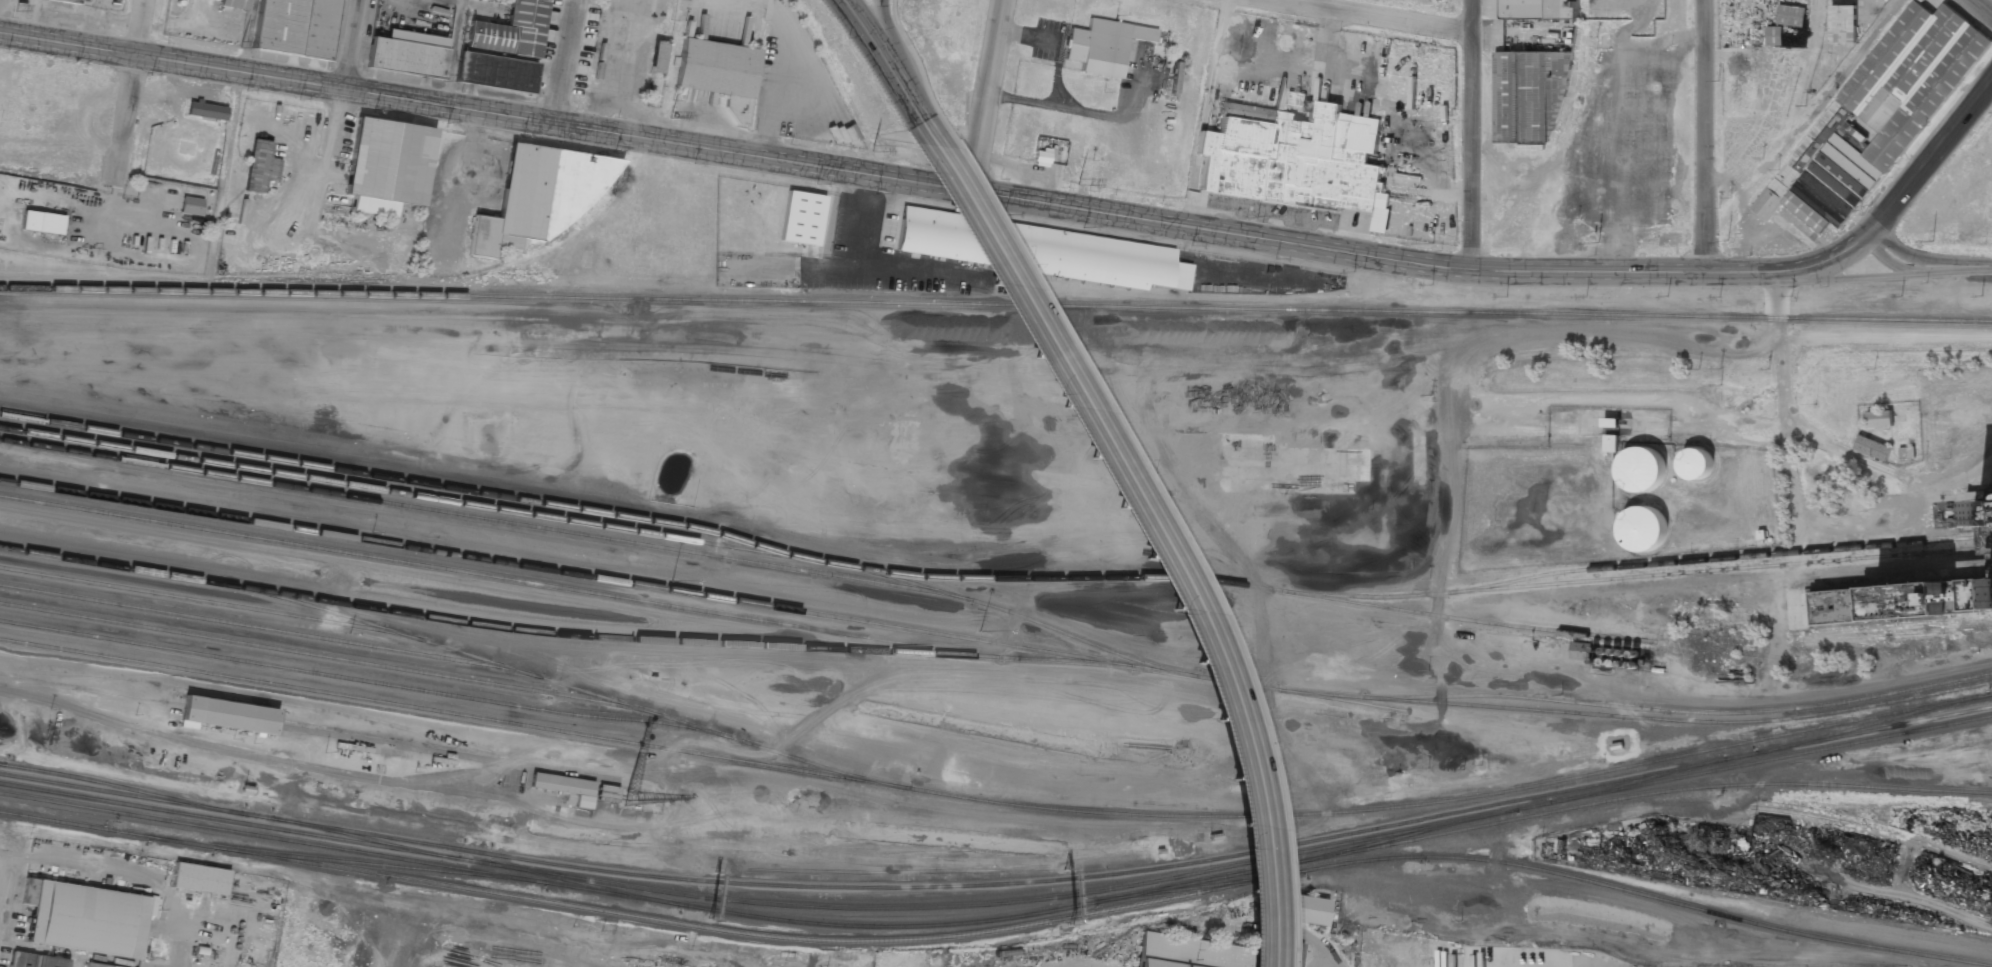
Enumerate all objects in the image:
building: (65, 1)
building: (233, 4)
road: (1981, 8)
building: (1539, 10)
building: (1791, 15)
road: (1383, 16)
building: (1842, 23)
building: (295, 27)
building: (511, 32)
road: (882, 32)
building: (1774, 35)
road: (245, 36)
road: (351, 45)
building: (1103, 46)
road: (450, 53)
building: (407, 55)
building: (657, 57)
road: (884, 59)
road: (565, 62)
building: (715, 68)
building: (494, 73)
building: (602, 81)
road: (127, 87)
road: (990, 98)
building: (1529, 98)
building: (206, 110)
road: (1209, 117)
building: (1874, 119)
road: (1471, 135)
road: (1706, 135)
road: (1929, 154)
building: (1295, 158)
building: (260, 166)
building: (387, 166)
road: (934, 189)
building: (540, 199)
building: (190, 205)
building: (800, 219)
building: (42, 222)
building: (931, 234)
building: (1097, 259)
road: (1923, 265)
road: (1863, 278)
railway: (887, 301)
railway: (1879, 318)
railway: (1988, 320)
building: (1879, 418)
building: (1610, 442)
building: (1872, 447)
building: (1906, 452)
building: (1696, 463)
building: (1641, 468)
railway: (401, 480)
railway: (474, 517)
road: (1154, 524)
building: (1643, 529)
railway: (1728, 557)
railway: (583, 575)
railway: (504, 578)
railway: (991, 578)
building: (1911, 590)
railway: (198, 601)
railway: (1014, 614)
railway: (1484, 620)
railway: (1904, 623)
railway: (260, 628)
railway: (1905, 633)
railway: (673, 642)
railway: (441, 647)
building: (1581, 650)
railway: (320, 655)
railway: (349, 678)
railway: (1285, 690)
railway: (1681, 710)
railway: (1538, 711)
building: (227, 715)
railway: (1641, 717)
railway: (1870, 722)
railway: (1658, 749)
railway: (2, 763)
railway: (1651, 771)
railway: (1637, 779)
railway: (59, 784)
railway: (121, 786)
building: (565, 787)
railway: (58, 792)
building: (606, 793)
railway: (995, 802)
railway: (181, 804)
railway: (1539, 813)
railway: (255, 816)
railway: (1872, 828)
railway: (287, 830)
railway: (1404, 834)
railway: (363, 837)
railway: (339, 848)
railway: (1448, 856)
railway: (472, 860)
railway: (1242, 862)
railway: (379, 864)
road: (5, 877)
building: (199, 880)
railway: (581, 883)
railway: (789, 885)
railway: (1195, 886)
building: (1307, 911)
railway: (647, 917)
building: (85, 919)
railway: (886, 925)
railway: (1793, 931)
building: (1186, 953)
building: (36, 960)
building: (90, 966)

